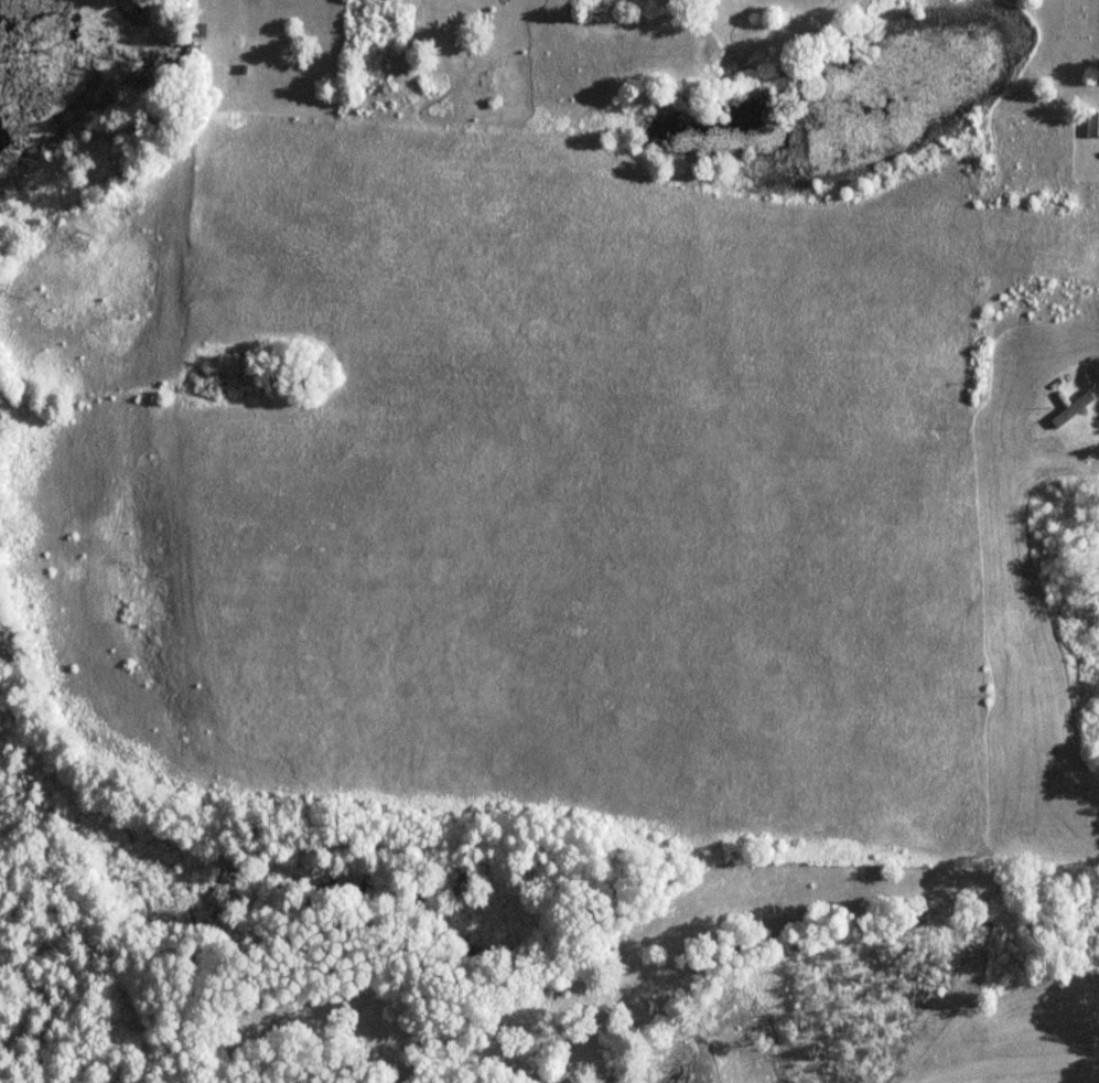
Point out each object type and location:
building: (1091, 125)
building: (1096, 373)
building: (1070, 409)
road: (1010, 1068)

